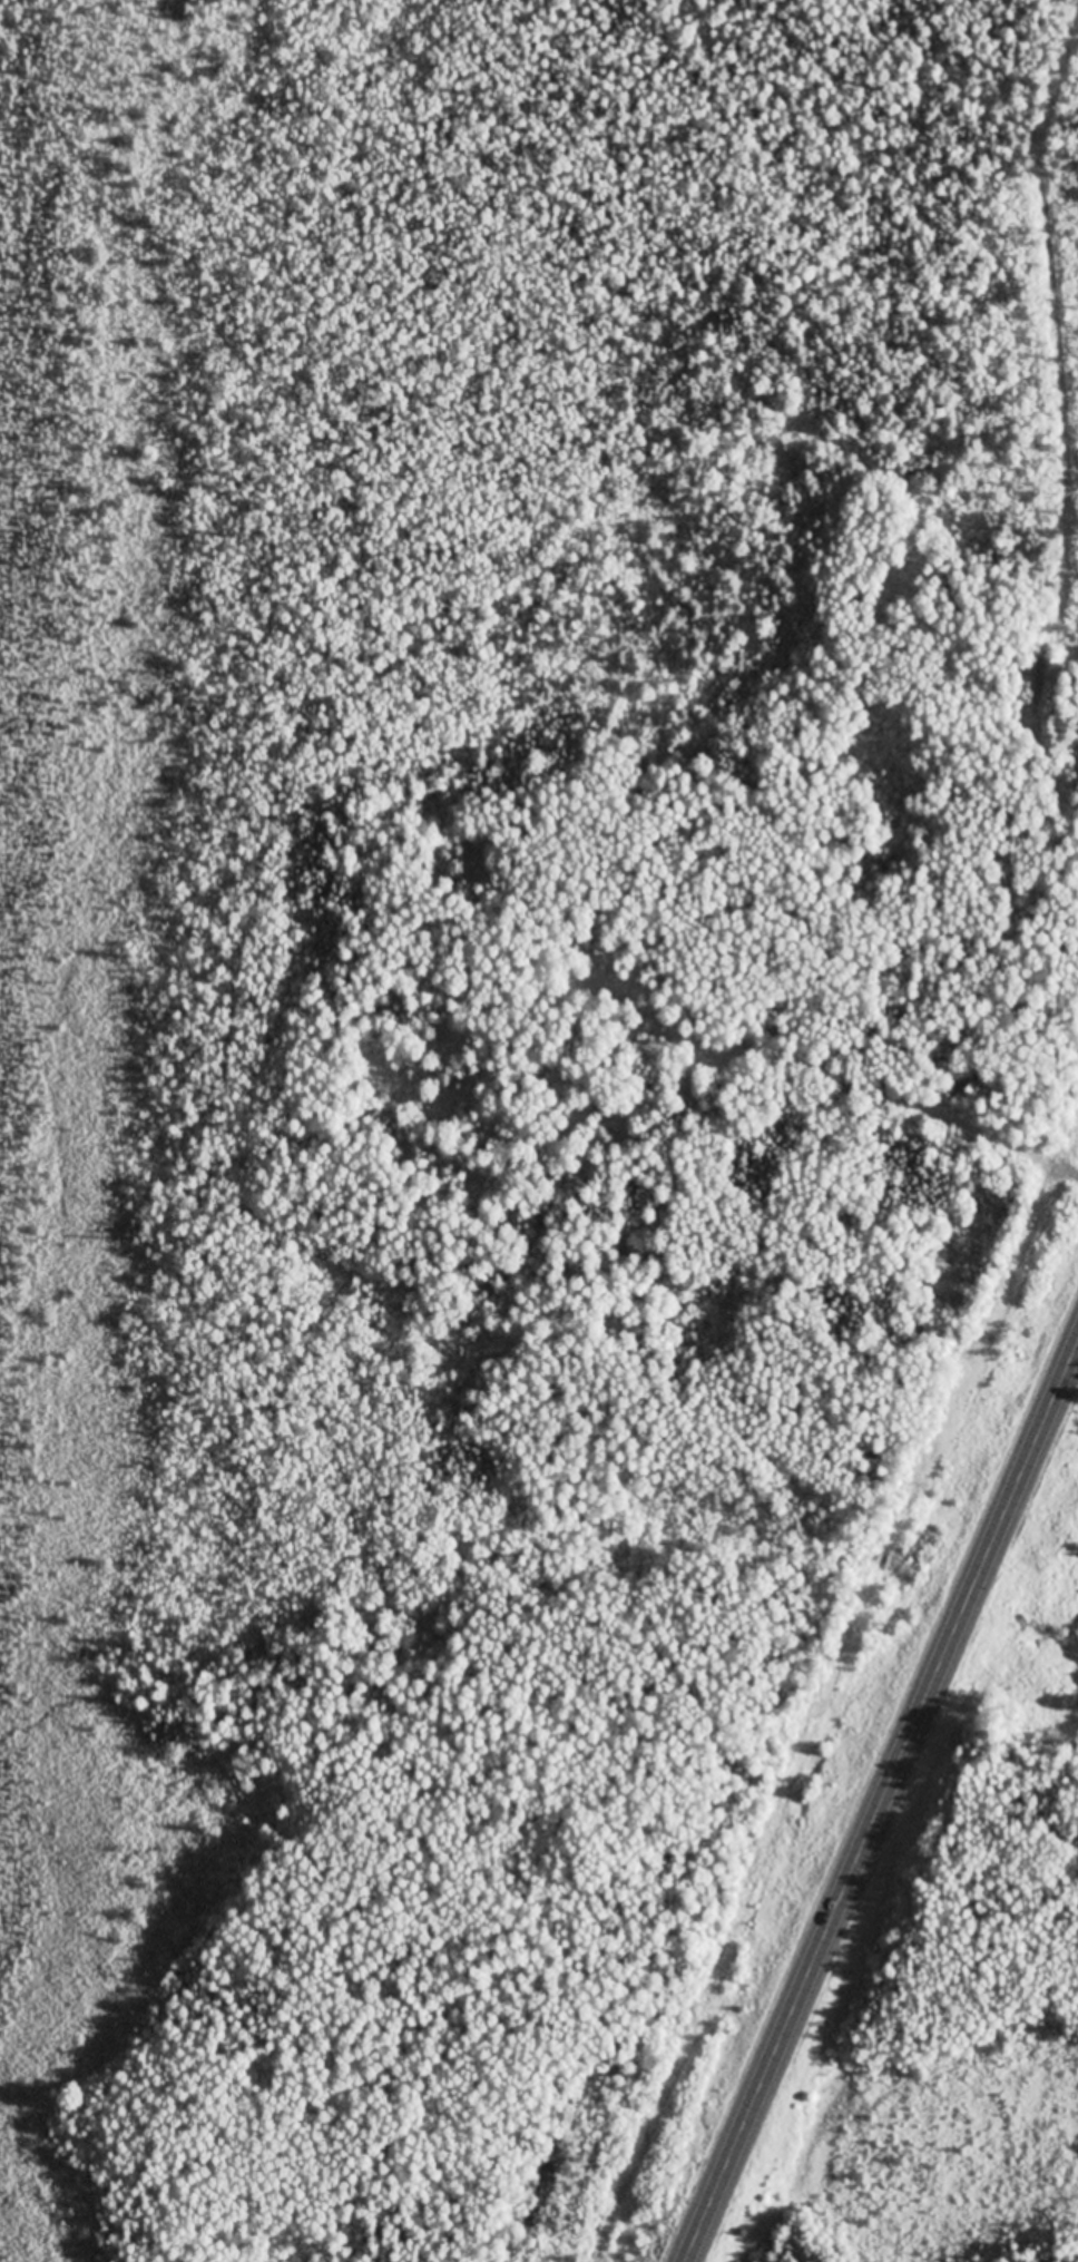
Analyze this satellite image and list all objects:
road: (879, 1799)

